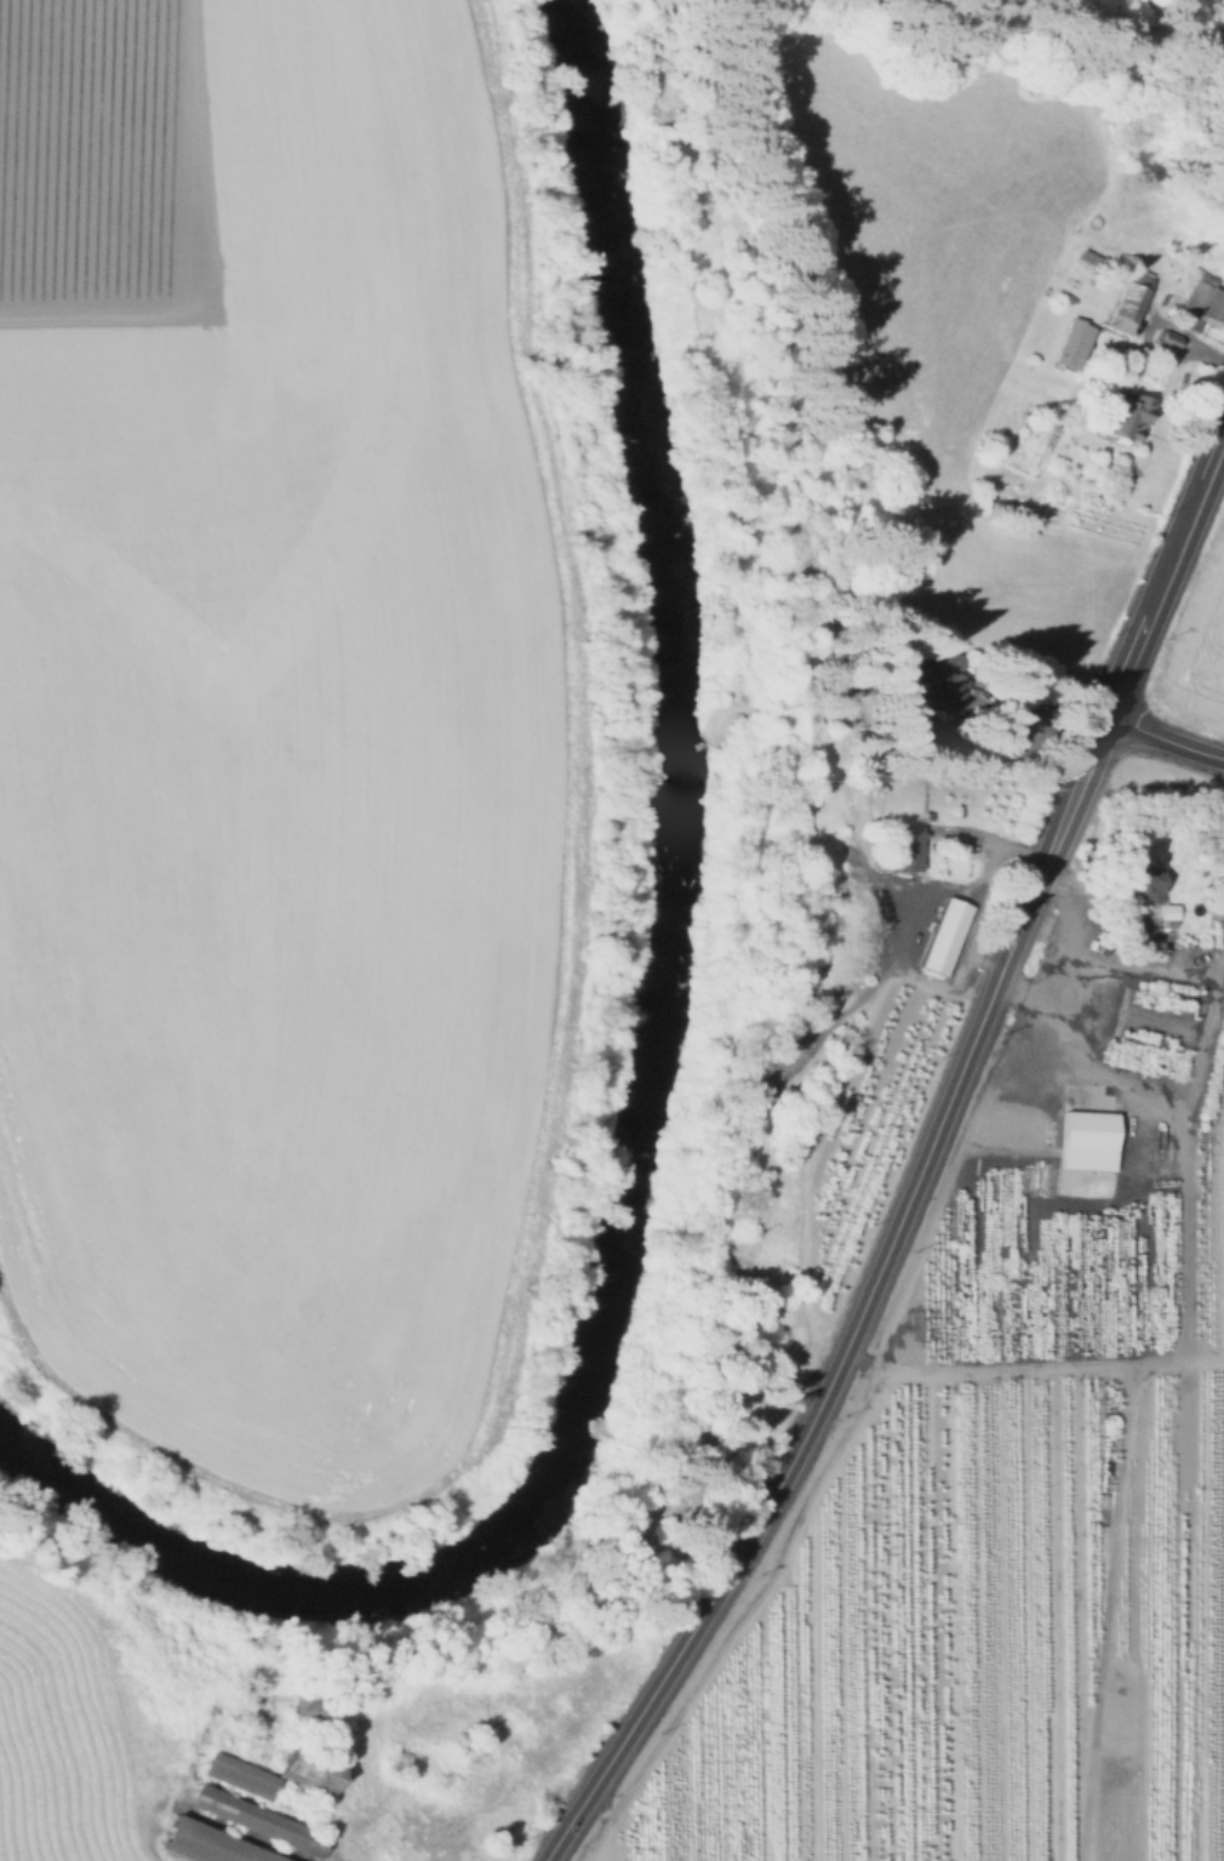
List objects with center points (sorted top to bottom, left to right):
building: (1110, 268)
building: (1131, 302)
building: (1202, 307)
building: (1168, 338)
building: (1075, 343)
building: (1129, 417)
crop: (1196, 649)
road: (1132, 653)
building: (944, 678)
crop: (274, 717)
building: (939, 733)
road: (1165, 737)
road: (1022, 741)
building: (910, 852)
building: (1140, 889)
road: (979, 890)
road: (1071, 917)
building: (1168, 918)
building: (946, 940)
road: (1116, 970)
river: (671, 1069)
road: (1182, 1135)
building: (1087, 1136)
road: (1030, 1364)
road: (828, 1387)
road: (1103, 1610)
building: (318, 1709)
crop: (55, 1730)
building: (265, 1748)
building: (309, 1765)
building: (242, 1775)
road: (202, 1815)
building: (261, 1820)
building: (215, 1844)

